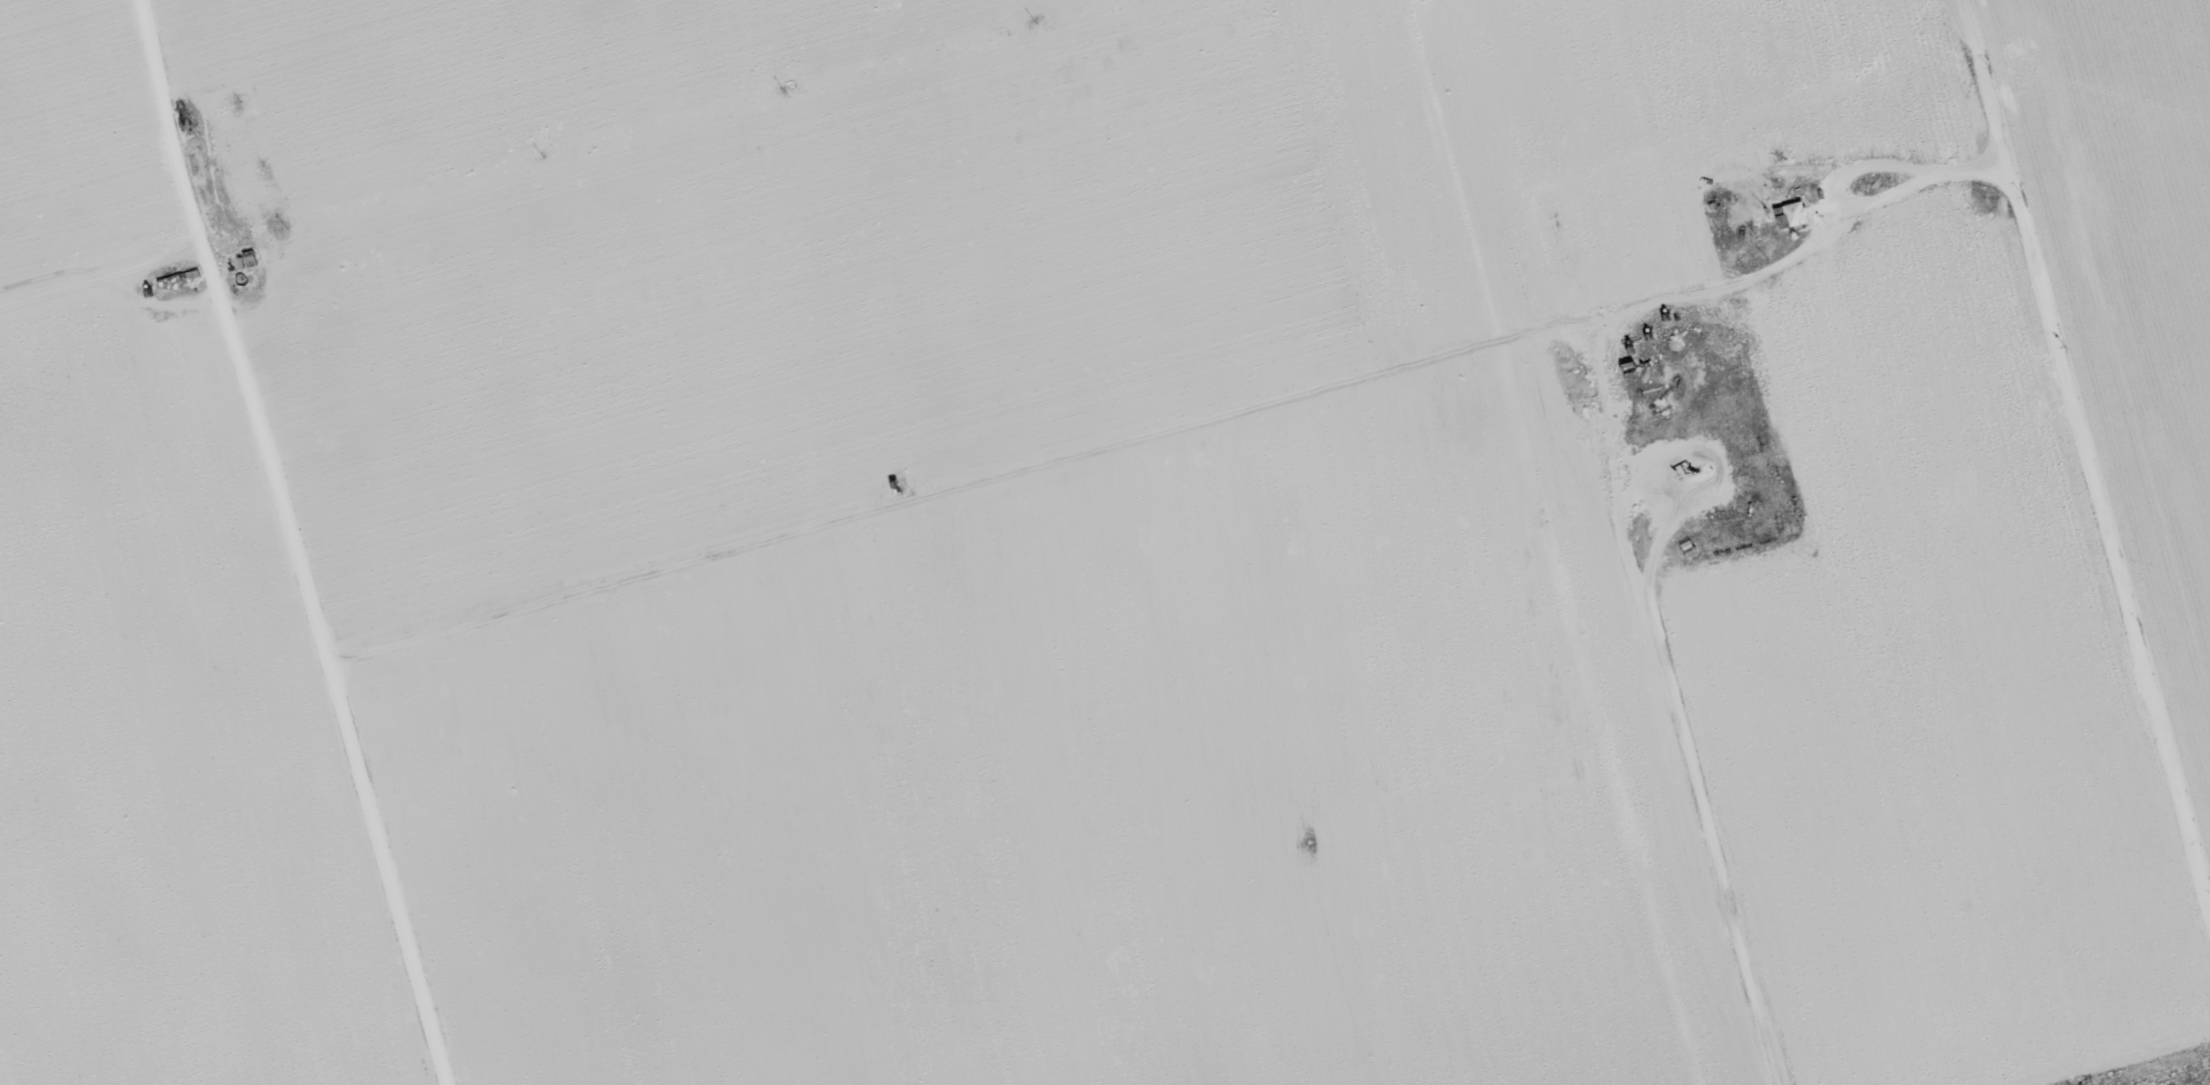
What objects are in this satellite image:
road: (2085, 448)

